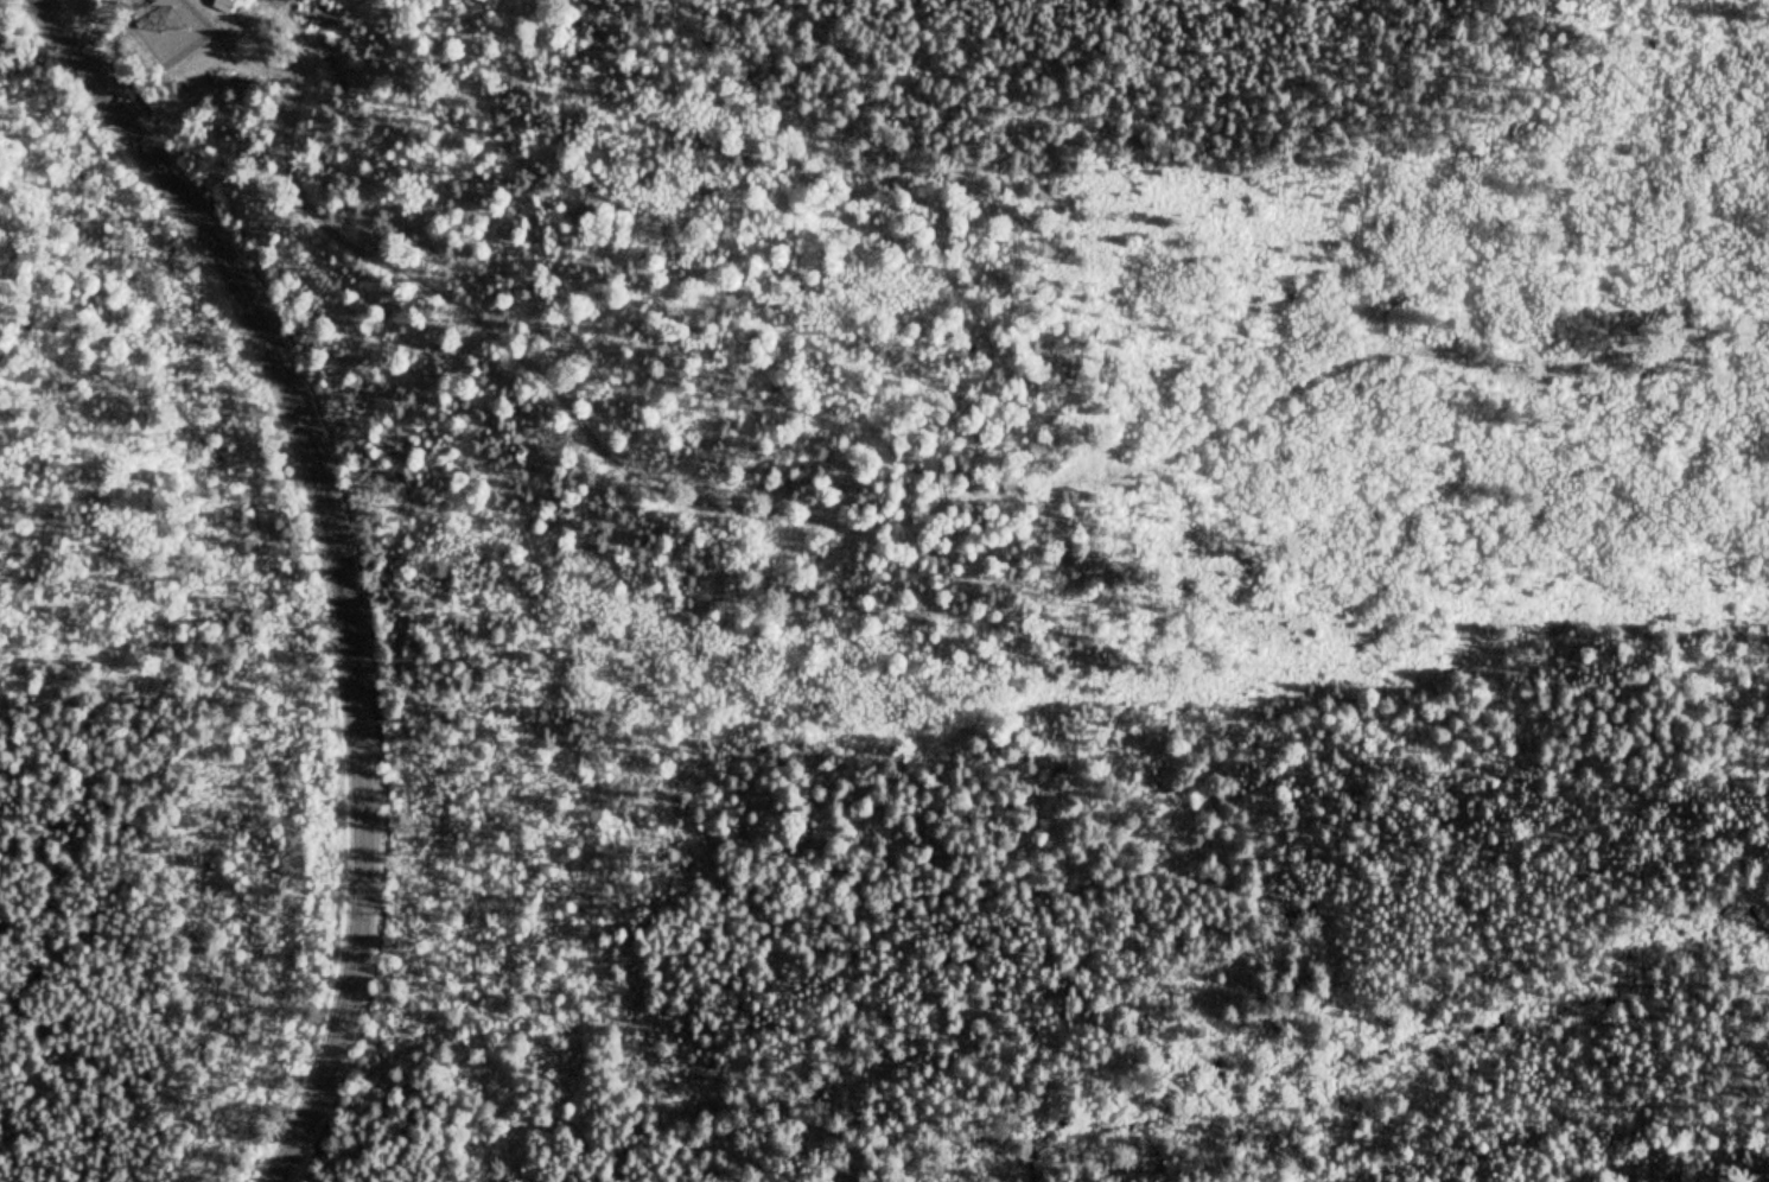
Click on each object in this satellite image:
road: (339, 558)

